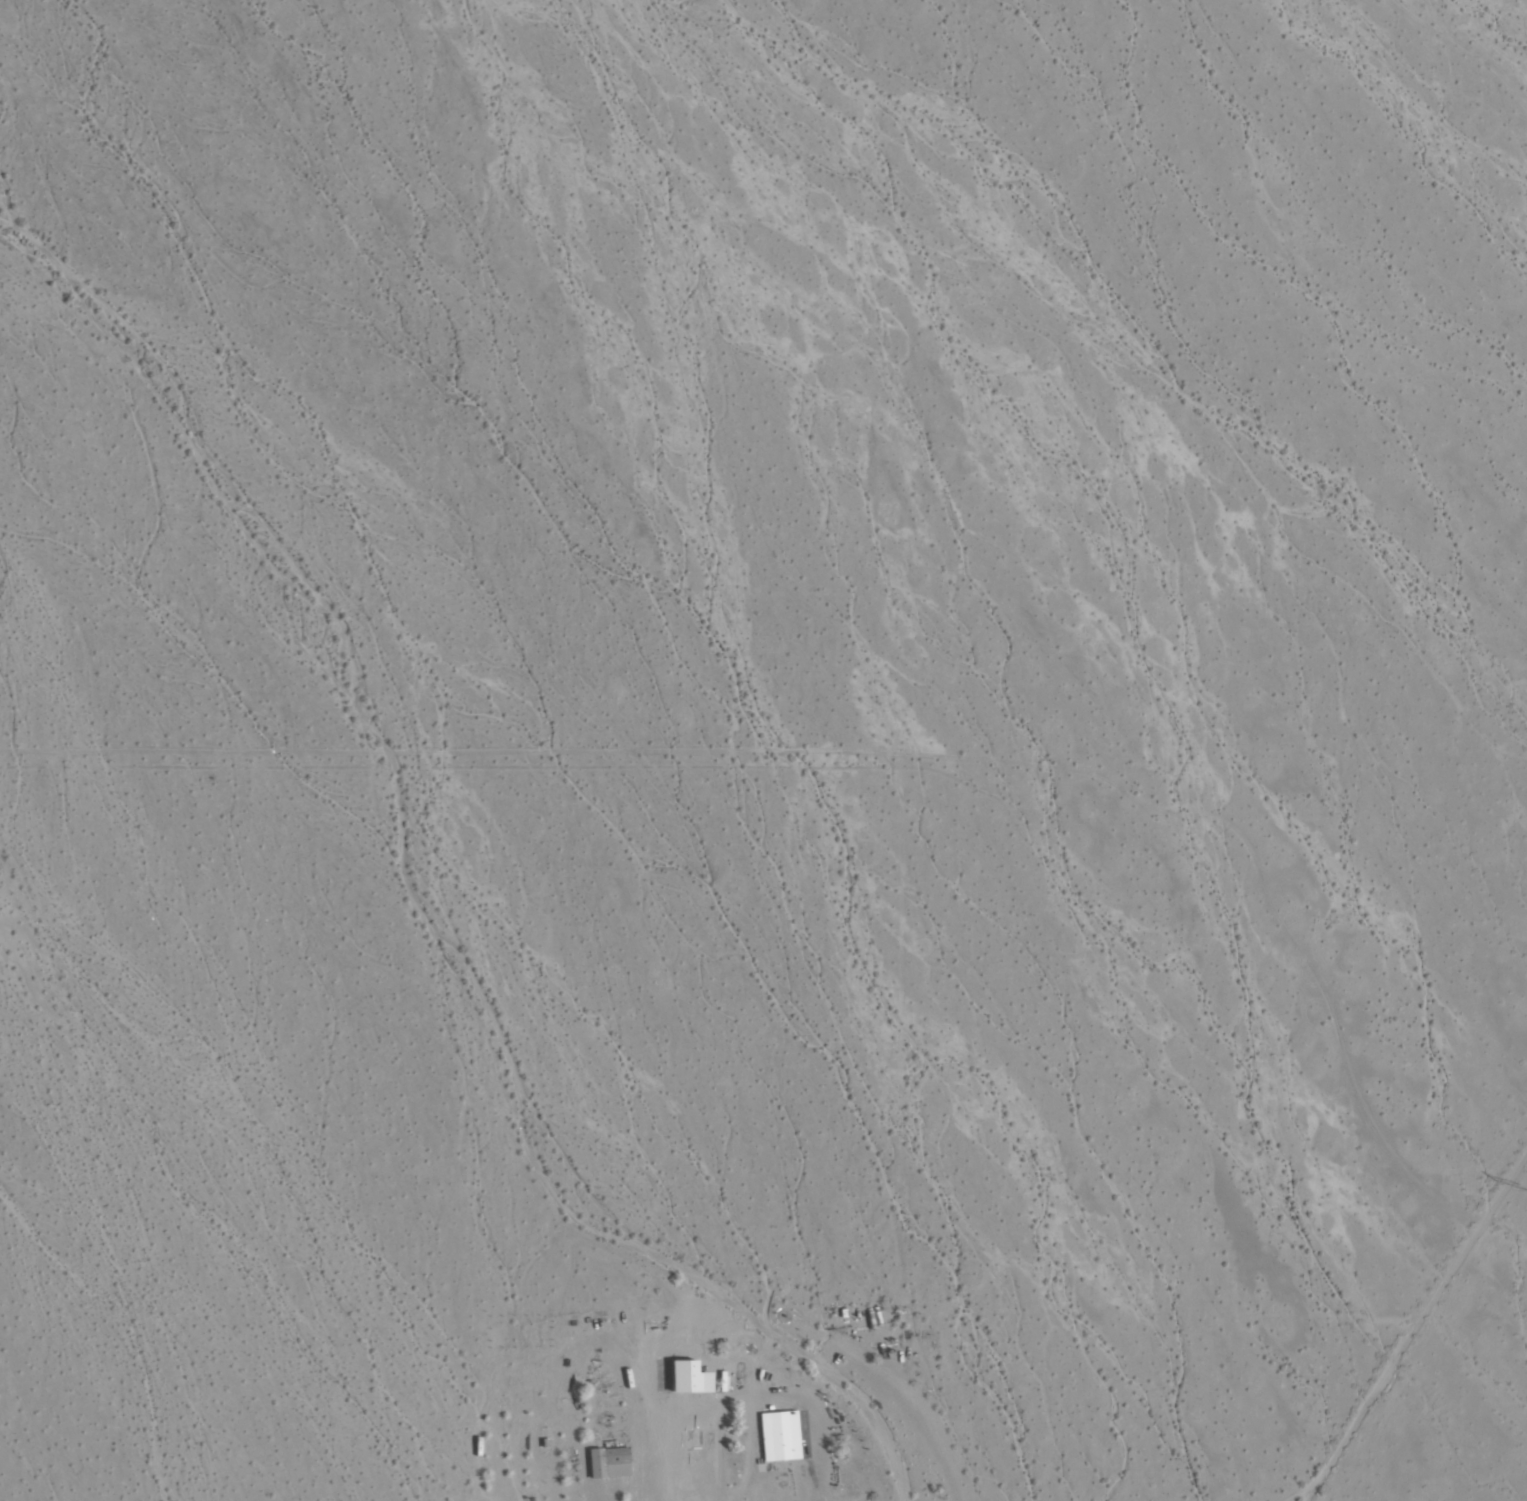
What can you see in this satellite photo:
road: (1414, 1322)
building: (780, 1435)
building: (616, 1455)

